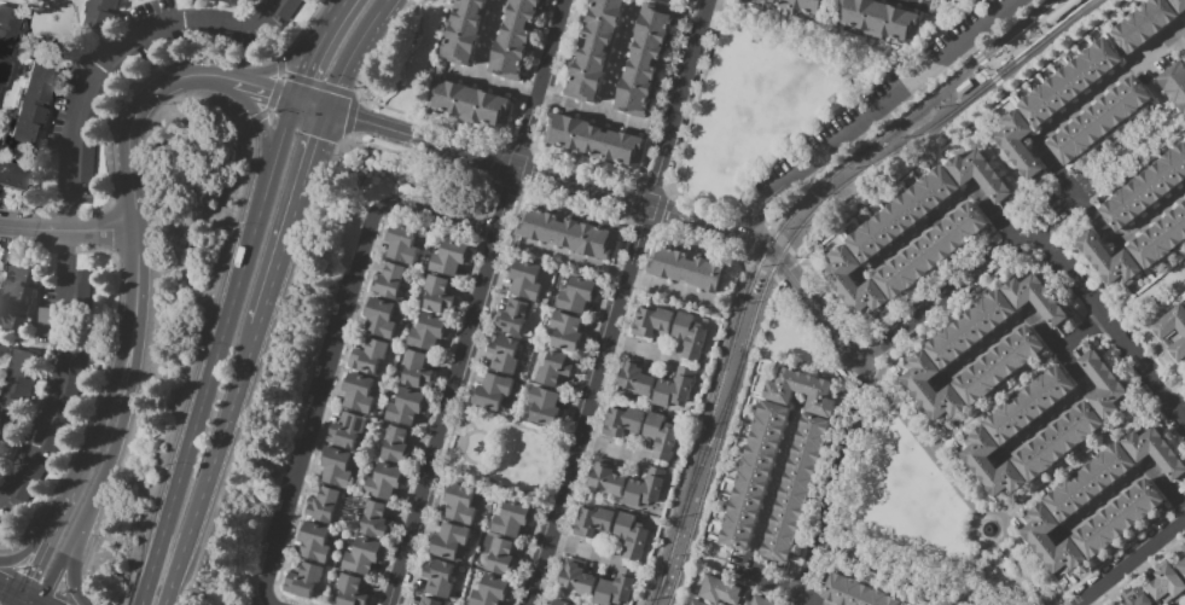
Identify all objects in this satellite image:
road: (37, 0)
building: (233, 2)
road: (920, 2)
road: (28, 4)
building: (802, 5)
building: (1179, 5)
road: (257, 7)
building: (287, 8)
road: (939, 8)
park: (952, 8)
building: (1062, 10)
road: (175, 12)
building: (100, 14)
road: (946, 16)
road: (833, 18)
building: (879, 19)
building: (1143, 24)
building: (464, 30)
road: (80, 31)
road: (1179, 33)
building: (7, 35)
building: (214, 37)
building: (515, 37)
road: (488, 39)
building: (157, 40)
road: (848, 43)
road: (1179, 45)
road: (46, 47)
road: (320, 48)
building: (594, 48)
road: (296, 51)
road: (353, 52)
building: (124, 59)
building: (645, 59)
road: (617, 60)
railway: (1017, 60)
road: (1000, 62)
road: (987, 64)
road: (425, 66)
road: (541, 72)
road: (492, 82)
building: (1070, 82)
building: (1174, 85)
road: (266, 88)
traffic signals: (296, 99)
building: (31, 100)
parking lot: (883, 101)
building: (469, 103)
building: (98, 104)
road: (312, 104)
park: (757, 104)
road: (1079, 109)
traffic signals: (329, 110)
road: (592, 111)
road: (873, 111)
road: (134, 112)
building: (1098, 121)
road: (263, 127)
road: (808, 138)
building: (593, 139)
building: (1017, 144)
road: (33, 152)
railway: (894, 153)
building: (85, 159)
road: (486, 159)
road: (1010, 169)
building: (51, 171)
building: (978, 174)
building: (14, 175)
road: (509, 184)
building: (1146, 187)
road: (66, 188)
road: (946, 211)
railway: (795, 213)
building: (902, 213)
road: (438, 215)
road: (295, 217)
road: (695, 220)
road: (1, 232)
road: (68, 232)
building: (567, 233)
road: (826, 233)
road: (1126, 233)
building: (1160, 238)
building: (401, 244)
building: (930, 250)
building: (449, 257)
building: (1109, 257)
building: (687, 268)
road: (615, 274)
building: (524, 279)
road: (969, 279)
building: (389, 280)
building: (853, 283)
building: (82, 286)
building: (438, 295)
building: (576, 295)
road: (1146, 295)
park: (1154, 295)
building: (16, 296)
road: (135, 297)
building: (1035, 298)
road: (618, 302)
road: (812, 304)
building: (513, 316)
building: (381, 318)
building: (654, 320)
building: (45, 322)
road: (1109, 327)
building: (970, 328)
building: (85, 330)
building: (565, 331)
building: (426, 332)
road: (1004, 332)
building: (1161, 332)
road: (1082, 335)
building: (689, 336)
road: (31, 342)
road: (1, 344)
road: (640, 350)
road: (221, 351)
building: (504, 354)
building: (368, 356)
building: (999, 366)
building: (416, 368)
building: (553, 370)
building: (74, 377)
building: (635, 379)
building: (1102, 383)
road: (1173, 386)
building: (931, 389)
building: (493, 391)
building: (672, 391)
building: (802, 391)
building: (16, 392)
building: (358, 392)
road: (316, 401)
road: (994, 402)
building: (1030, 403)
building: (406, 406)
building: (544, 406)
road: (1063, 408)
road: (442, 414)
building: (621, 421)
road: (97, 424)
building: (347, 430)
road: (478, 430)
road: (567, 431)
building: (57, 434)
building: (660, 435)
railway: (711, 437)
building: (1058, 441)
building: (396, 444)
road: (460, 447)
road: (922, 447)
road: (610, 450)
building: (1155, 450)
road: (114, 452)
park: (500, 456)
road: (1081, 456)
road: (842, 459)
road: (217, 465)
building: (991, 465)
building: (336, 469)
road: (442, 472)
road: (553, 473)
building: (754, 475)
railway: (707, 477)
building: (31, 478)
building: (606, 479)
building: (383, 482)
building: (1091, 482)
road: (1127, 483)
building: (796, 488)
road: (774, 489)
building: (643, 490)
road: (63, 501)
building: (324, 505)
building: (458, 505)
park: (902, 505)
road: (545, 510)
building: (511, 518)
building: (1117, 518)
building: (376, 520)
building: (592, 522)
fountain: (991, 529)
building: (631, 536)
building: (448, 540)
building: (1050, 542)
building: (313, 543)
road: (997, 545)
building: (1183, 548)
road: (33, 549)
road: (581, 552)
building: (1183, 552)
building: (364, 555)
building: (501, 557)
road: (39, 559)
road: (1129, 562)
railway: (666, 565)
road: (58, 568)
building: (1181, 568)
road: (72, 569)
road: (806, 570)
road: (893, 571)
road: (971, 574)
road: (1022, 575)
building: (576, 577)
building: (438, 578)
building: (303, 580)
road: (761, 581)
building: (1164, 584)
building: (352, 591)
building: (489, 591)
building: (614, 591)
building: (721, 591)
building: (855, 593)
road: (11, 594)
building: (1135, 597)
traffic signals: (23, 600)
building: (431, 601)
building: (760, 601)
road: (808, 601)
road: (22, 603)
road: (28, 603)
road: (271, 603)
building: (559, 603)
building: (697, 603)
building: (906, 604)
road: (964, 604)

